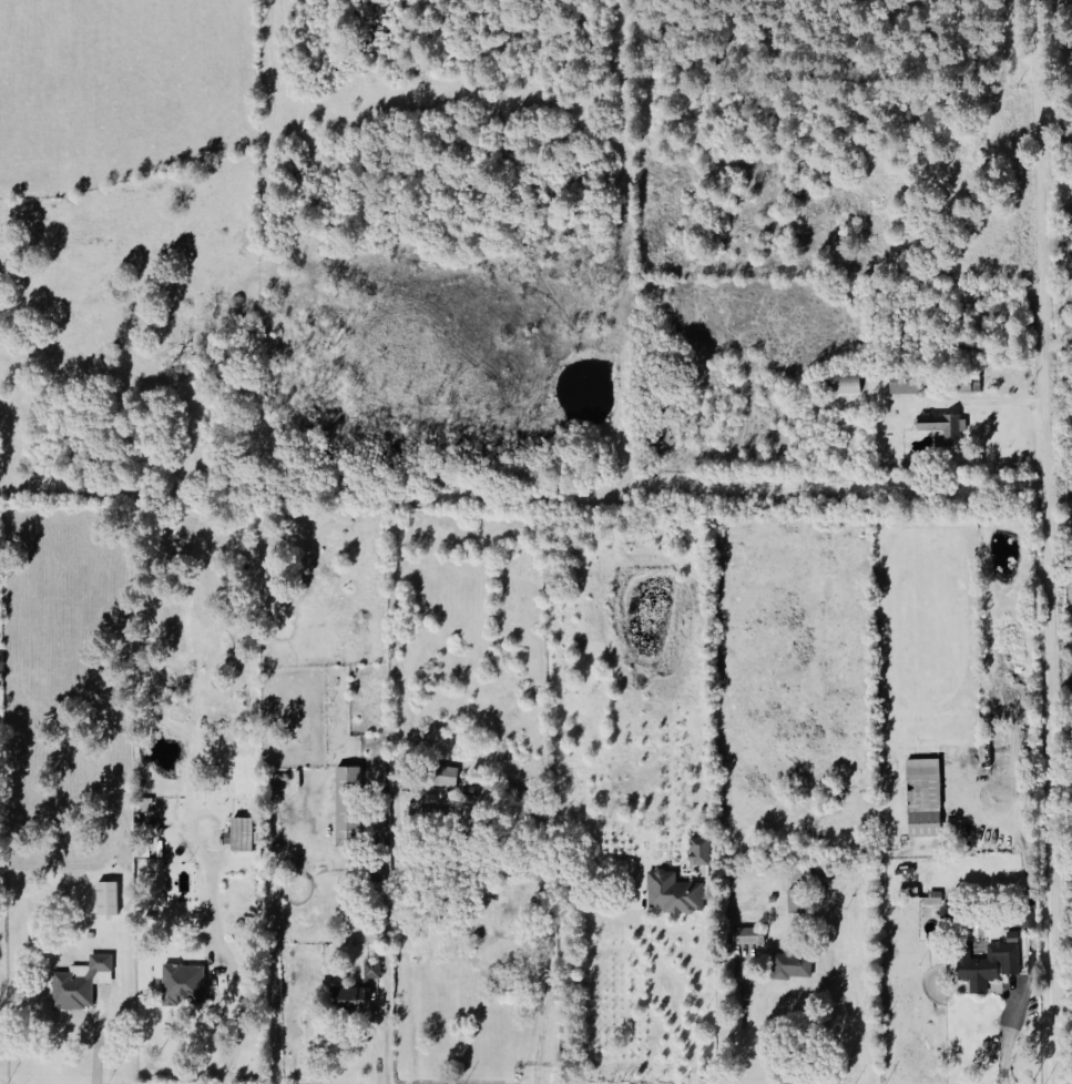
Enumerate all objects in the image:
road: (1038, 11)
building: (844, 384)
building: (942, 427)
road: (1048, 554)
building: (446, 776)
building: (923, 798)
building: (347, 806)
building: (239, 835)
building: (700, 851)
building: (673, 894)
building: (933, 898)
building: (106, 899)
building: (510, 903)
building: (748, 936)
road: (217, 938)
building: (989, 963)
building: (792, 966)
road: (274, 971)
building: (371, 971)
building: (81, 983)
building: (183, 985)
road: (680, 994)
road: (214, 995)
building: (349, 1000)
road: (743, 1024)
road: (542, 1036)
road: (1007, 1047)

